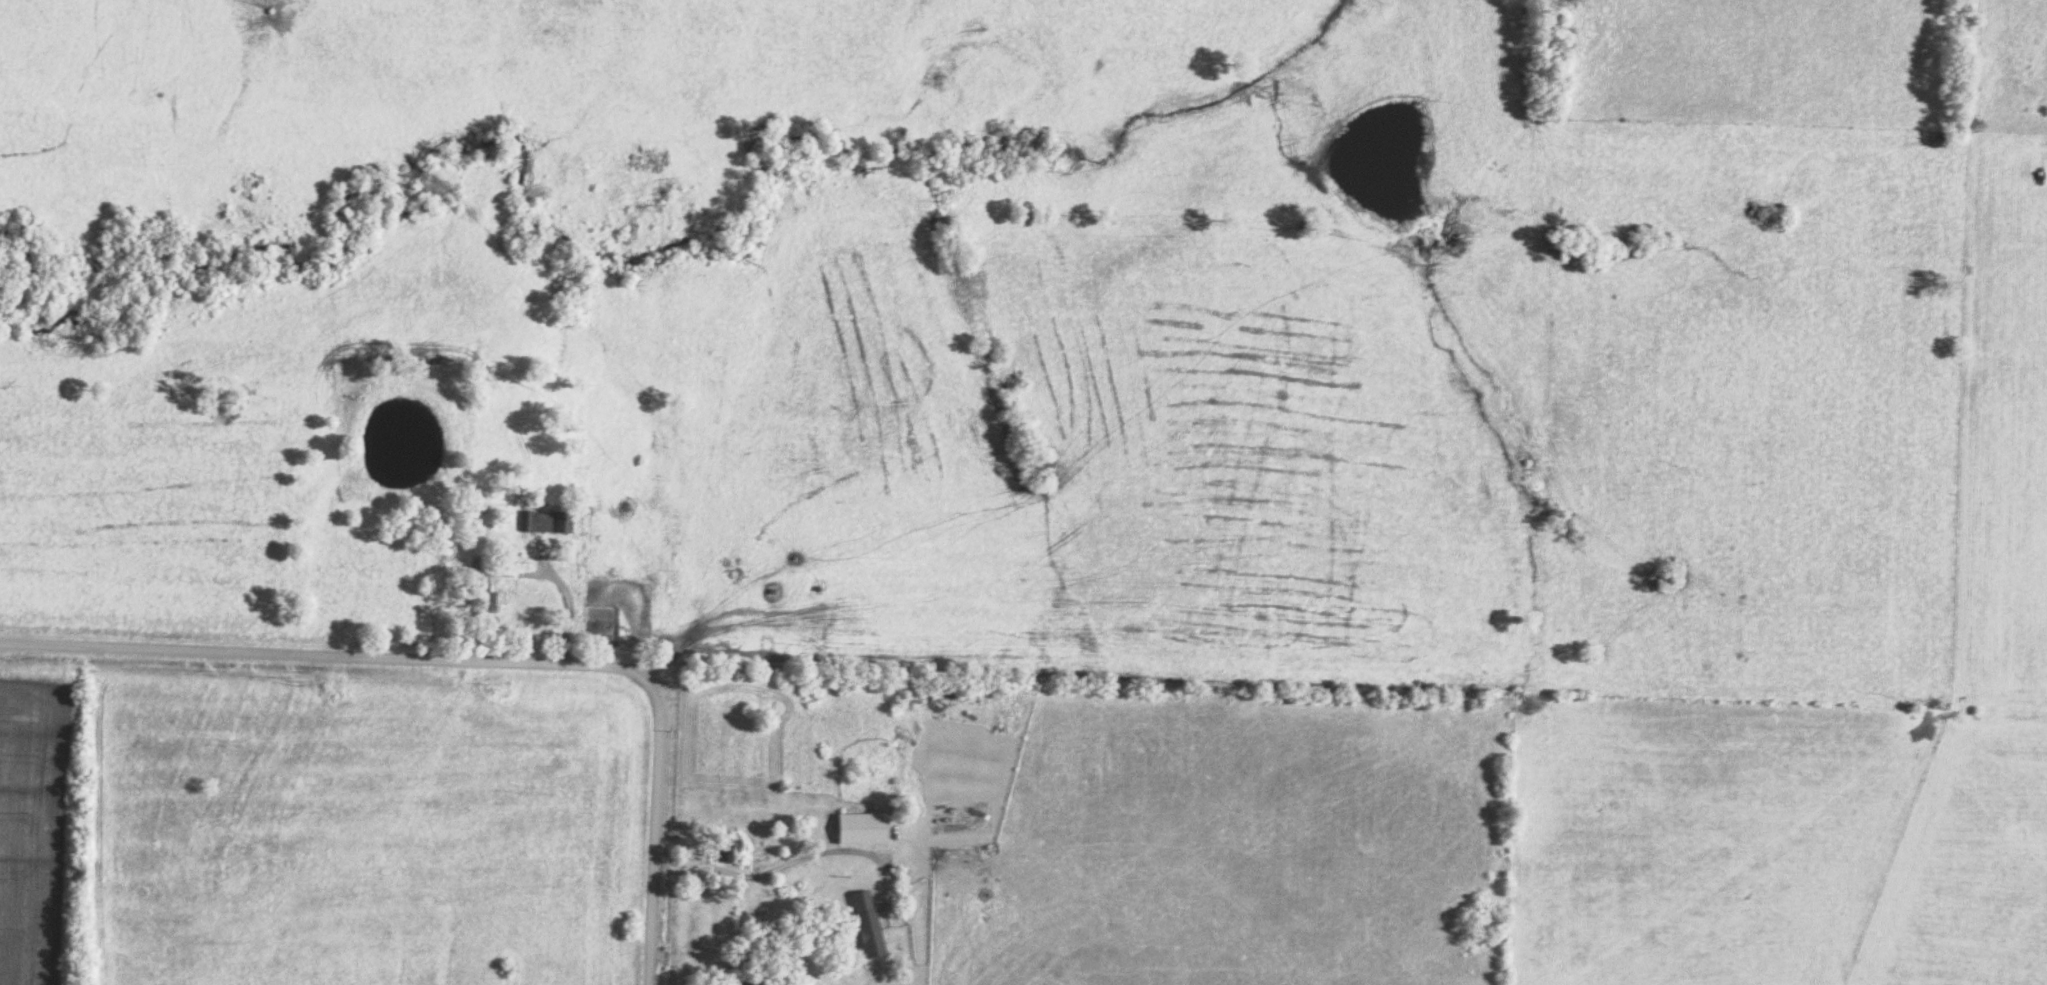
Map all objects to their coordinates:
building: (538, 521)
building: (479, 593)
building: (592, 595)
road: (566, 599)
road: (328, 659)
road: (659, 830)
building: (874, 834)
building: (725, 853)
road: (779, 864)

